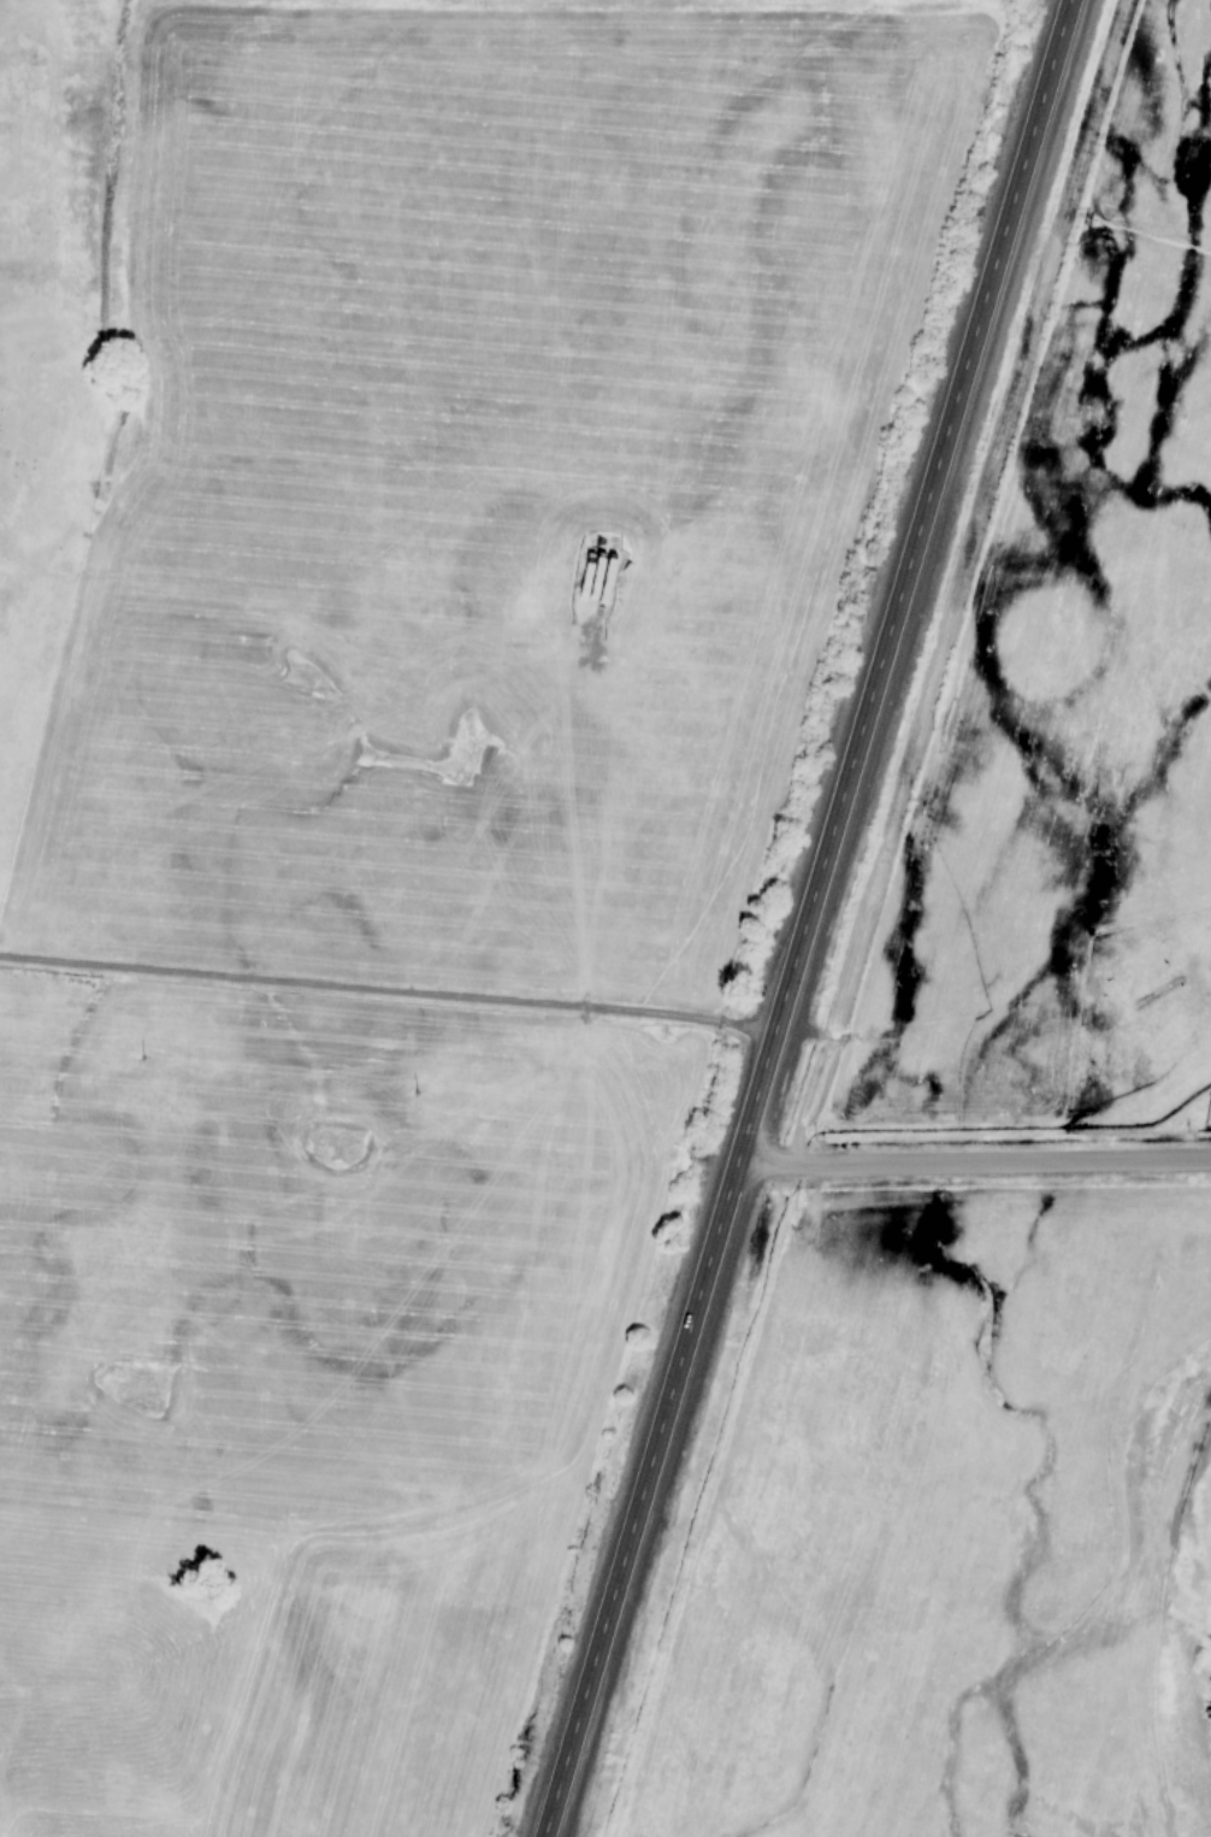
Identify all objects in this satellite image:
building: (597, 565)
road: (807, 918)
road: (389, 985)
road: (974, 1160)

